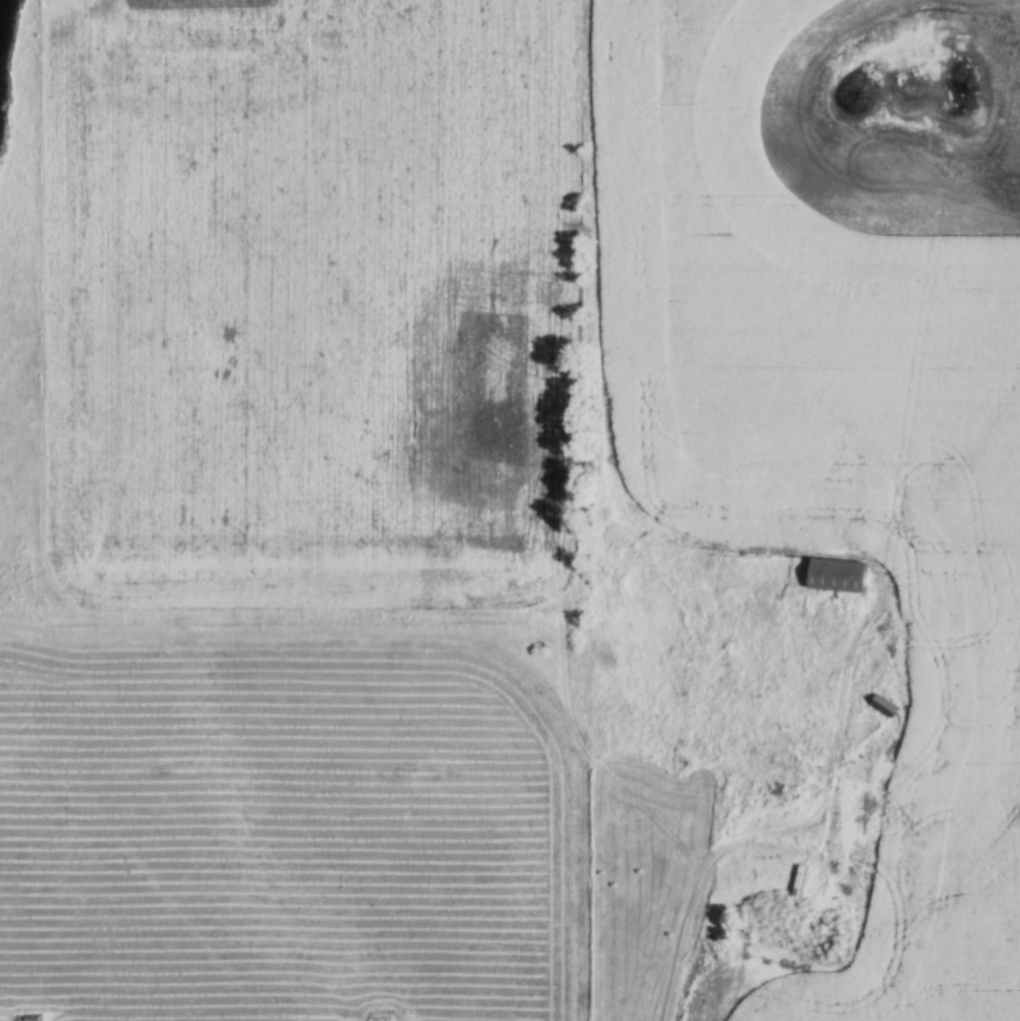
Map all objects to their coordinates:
building: (838, 577)
building: (885, 708)
building: (879, 782)
building: (781, 796)
building: (798, 882)

